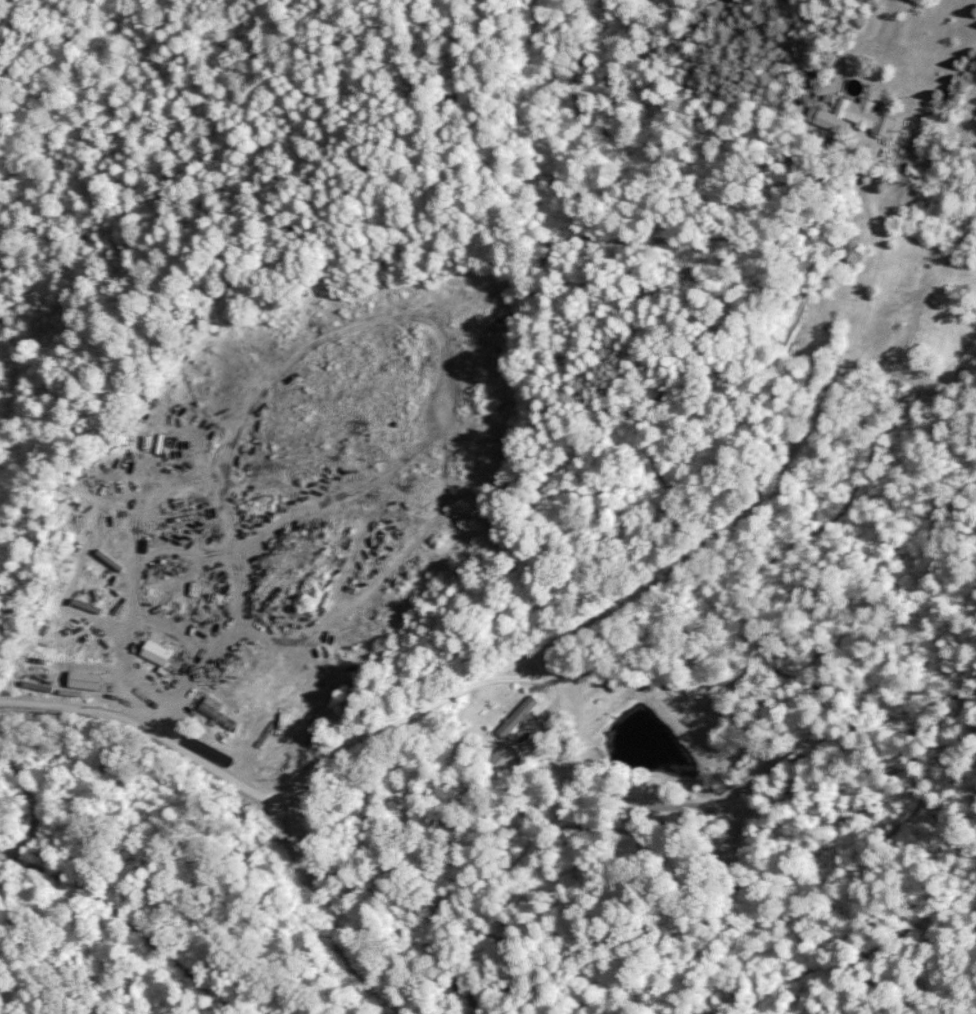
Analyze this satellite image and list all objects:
building: (859, 113)
building: (793, 327)
building: (153, 652)
building: (82, 679)
building: (143, 680)
road: (413, 711)
building: (217, 714)
building: (514, 716)
building: (502, 759)
road: (450, 966)

